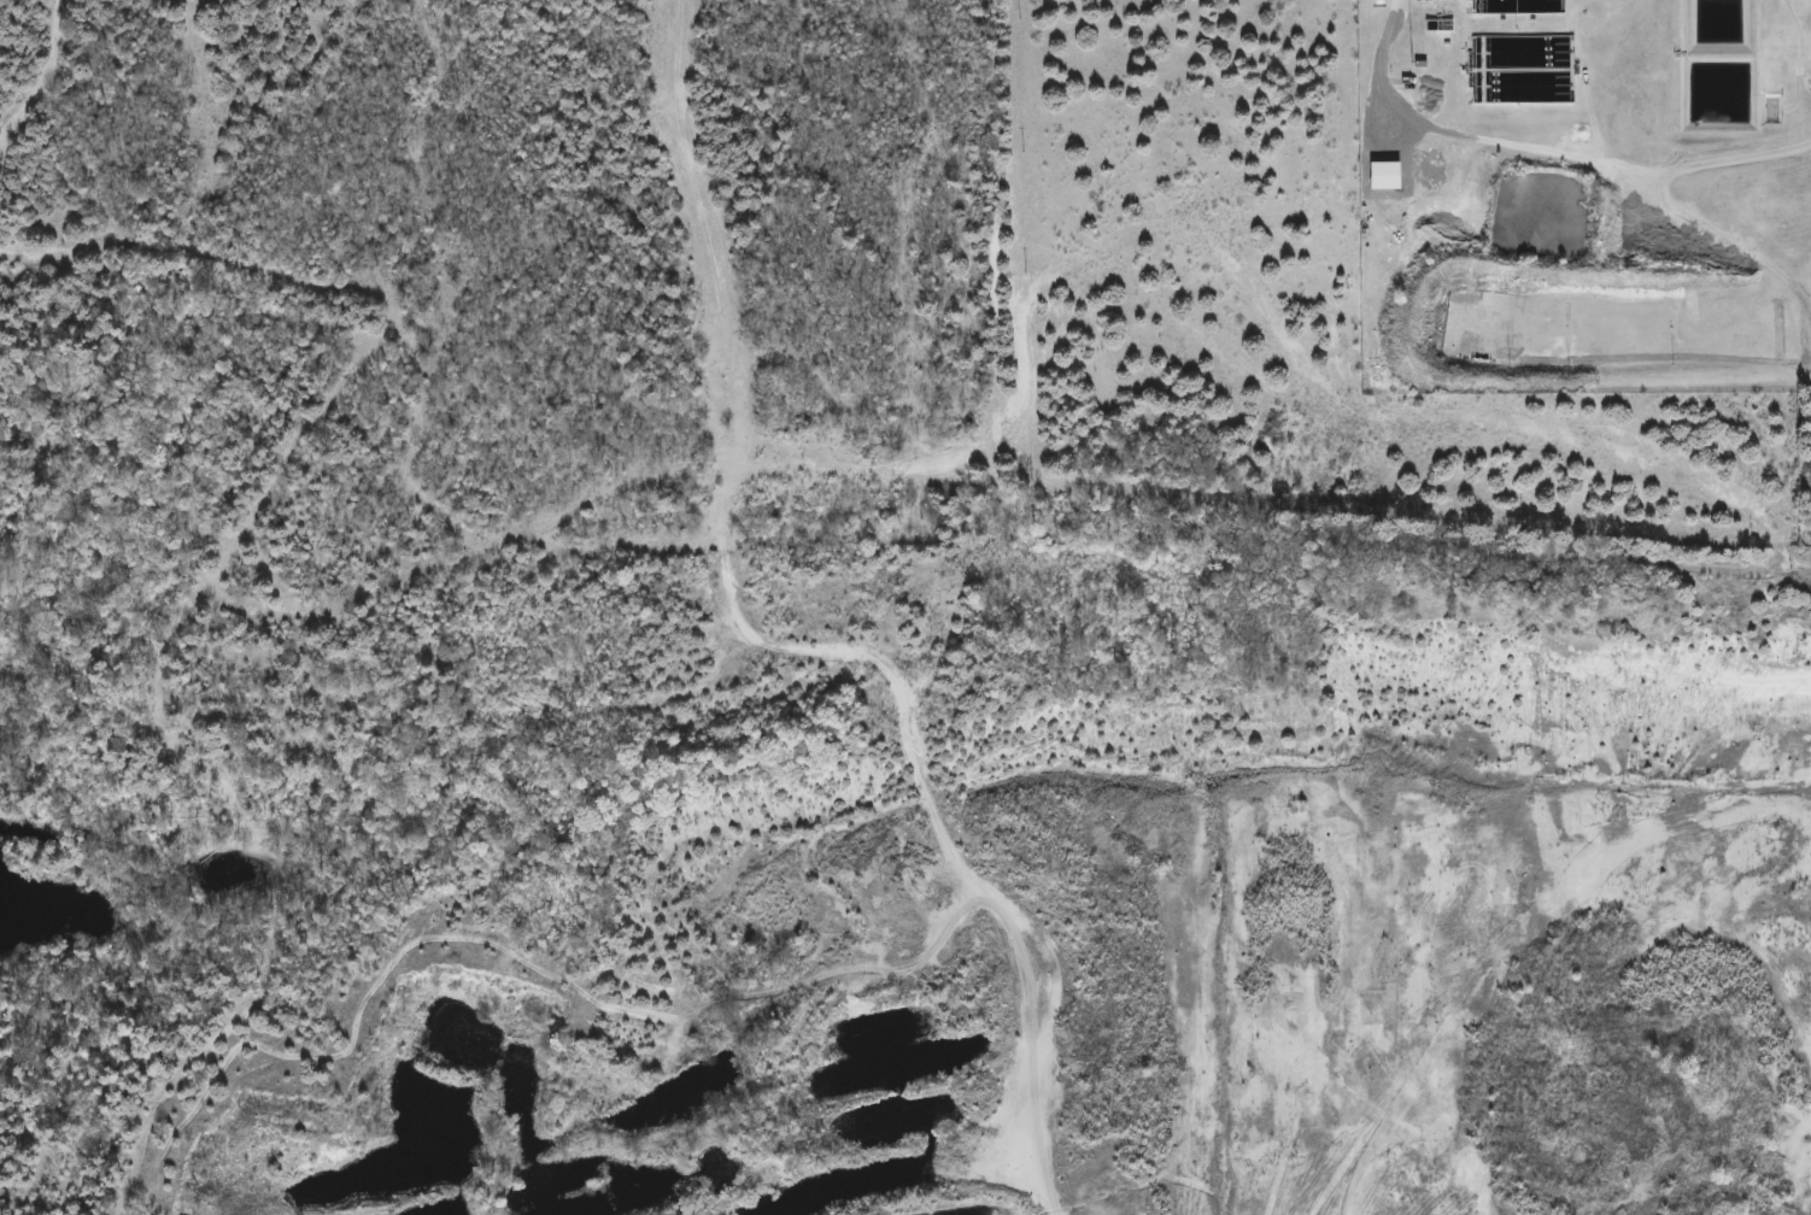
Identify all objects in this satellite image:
building: (1438, 0)
road: (1388, 39)
road: (1583, 165)
road: (693, 227)
road: (995, 268)
road: (1419, 550)
road: (881, 665)

